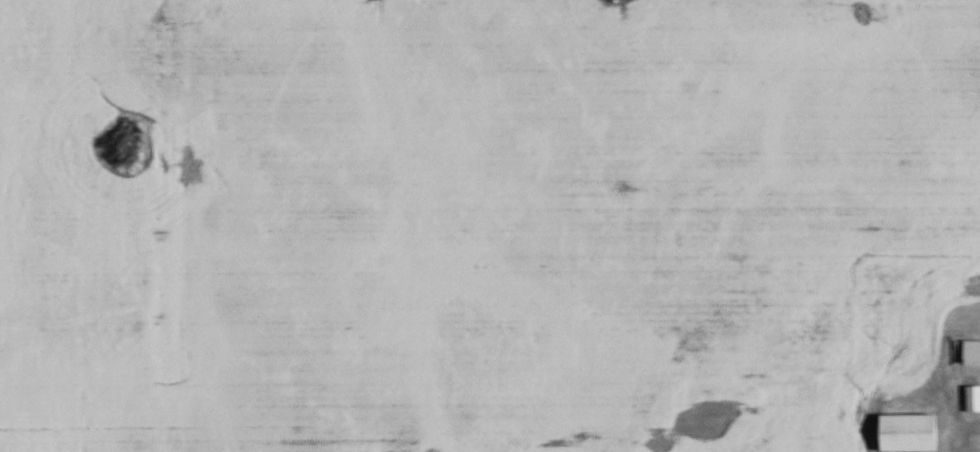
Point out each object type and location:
building: (970, 355)
building: (972, 401)
building: (907, 434)

